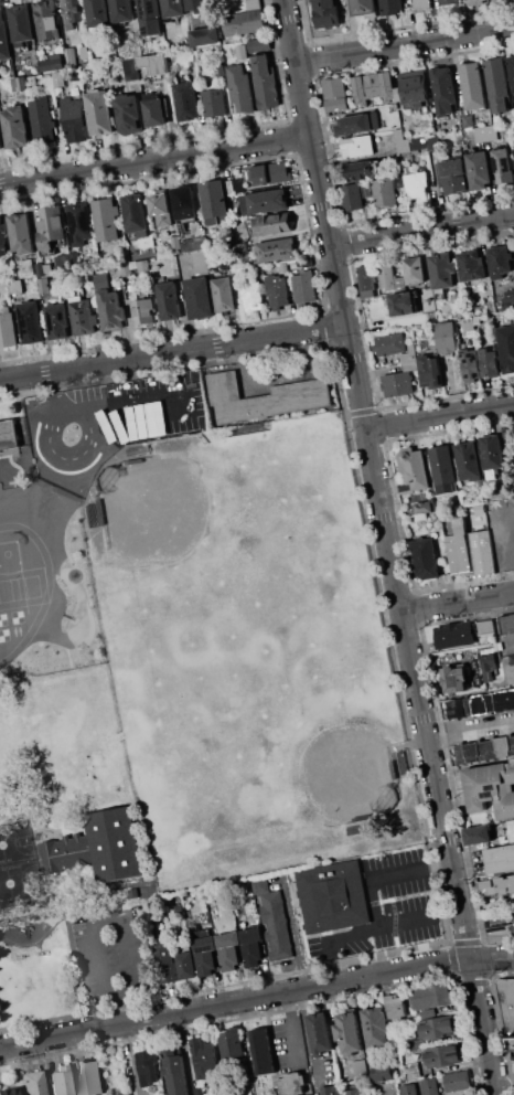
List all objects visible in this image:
building: (448, 2)
building: (474, 2)
building: (421, 3)
building: (253, 4)
building: (199, 6)
building: (365, 6)
building: (392, 7)
building: (173, 9)
building: (121, 11)
building: (72, 12)
building: (326, 13)
building: (97, 14)
building: (150, 15)
building: (47, 20)
building: (243, 22)
building: (21, 23)
road: (353, 26)
building: (205, 36)
building: (3, 39)
building: (261, 44)
road: (405, 45)
building: (242, 51)
building: (85, 52)
building: (71, 56)
building: (53, 63)
building: (146, 66)
building: (218, 68)
building: (511, 70)
building: (1, 75)
building: (58, 78)
building: (265, 82)
building: (19, 83)
building: (496, 84)
building: (471, 85)
building: (373, 87)
building: (414, 87)
building: (443, 87)
building: (239, 89)
building: (76, 91)
building: (335, 94)
building: (397, 94)
building: (186, 100)
building: (214, 102)
building: (99, 111)
building: (154, 111)
building: (129, 114)
building: (42, 117)
building: (75, 119)
building: (467, 121)
building: (357, 124)
building: (15, 127)
building: (485, 134)
building: (1, 141)
building: (400, 141)
building: (432, 141)
building: (419, 142)
building: (513, 145)
building: (357, 146)
road: (156, 163)
building: (503, 164)
building: (408, 169)
building: (479, 169)
building: (361, 171)
building: (269, 172)
building: (452, 174)
building: (238, 184)
building: (416, 184)
building: (229, 188)
building: (384, 192)
building: (351, 196)
building: (214, 201)
building: (264, 201)
building: (184, 202)
building: (160, 208)
building: (135, 214)
building: (106, 219)
building: (81, 220)
building: (272, 223)
building: (51, 225)
road: (422, 228)
building: (21, 234)
building: (3, 237)
building: (194, 243)
building: (175, 244)
building: (240, 248)
building: (277, 249)
building: (75, 257)
building: (499, 261)
building: (63, 262)
building: (201, 263)
building: (303, 264)
building: (470, 265)
building: (143, 266)
building: (283, 266)
building: (26, 267)
building: (47, 268)
building: (125, 268)
building: (171, 268)
building: (39, 269)
building: (415, 269)
building: (441, 270)
building: (258, 272)
building: (389, 277)
building: (101, 278)
building: (366, 280)
building: (42, 285)
building: (15, 286)
building: (304, 287)
building: (277, 290)
building: (223, 293)
building: (510, 295)
building: (251, 296)
building: (200, 297)
building: (169, 299)
building: (403, 302)
building: (506, 306)
building: (111, 309)
building: (144, 310)
building: (83, 316)
building: (476, 319)
building: (58, 321)
building: (30, 322)
building: (468, 326)
building: (7, 328)
building: (447, 337)
building: (389, 343)
building: (506, 347)
road: (172, 352)
building: (410, 358)
building: (489, 362)
building: (470, 364)
building: (430, 372)
building: (397, 384)
road: (56, 391)
parking lot: (139, 391)
building: (264, 397)
road: (129, 400)
building: (192, 413)
road: (439, 415)
building: (173, 416)
building: (156, 419)
building: (137, 422)
building: (119, 425)
building: (9, 435)
building: (492, 455)
road: (72, 458)
building: (470, 461)
building: (414, 467)
building: (442, 469)
building: (405, 488)
building: (422, 507)
park: (179, 535)
road: (507, 539)
park: (299, 541)
road: (387, 543)
building: (459, 549)
building: (482, 551)
building: (424, 557)
park: (11, 578)
track: (20, 587)
park: (23, 587)
road: (457, 600)
park: (18, 616)
park: (3, 619)
building: (506, 624)
building: (484, 627)
park: (4, 635)
building: (454, 635)
road: (508, 648)
building: (489, 666)
building: (510, 670)
building: (454, 679)
building: (481, 704)
park: (199, 708)
park: (184, 710)
road: (469, 729)
building: (484, 750)
park: (320, 753)
building: (491, 787)
building: (512, 828)
building: (478, 833)
park: (15, 841)
road: (34, 847)
building: (94, 847)
building: (500, 859)
road: (18, 861)
road: (384, 874)
park: (19, 881)
building: (260, 885)
building: (496, 886)
road: (77, 895)
building: (332, 897)
building: (179, 908)
parking lot: (386, 908)
building: (513, 914)
building: (276, 925)
road: (79, 926)
road: (382, 928)
building: (501, 929)
road: (36, 942)
building: (250, 945)
building: (227, 949)
building: (204, 954)
parking lot: (114, 956)
road: (74, 965)
building: (186, 965)
building: (168, 966)
road: (137, 989)
road: (256, 998)
building: (431, 998)
building: (507, 1004)
building: (395, 1007)
road: (121, 1008)
building: (375, 1027)
building: (437, 1028)
road: (292, 1029)
building: (349, 1032)
building: (320, 1033)
building: (416, 1044)
building: (232, 1050)
building: (263, 1051)
building: (441, 1055)
building: (203, 1056)
road: (131, 1059)
building: (148, 1065)
building: (382, 1066)
building: (360, 1070)
road: (11, 1071)
building: (413, 1071)
building: (175, 1072)
building: (89, 1075)
road: (504, 1075)
building: (382, 1077)
building: (458, 1080)
building: (60, 1081)
building: (32, 1083)
building: (291, 1084)
building: (429, 1086)
building: (330, 1089)
building: (408, 1089)
road: (495, 1091)
building: (7, 1092)
building: (354, 1092)
building: (200, 1093)
building: (120, 1094)
building: (126, 1094)

